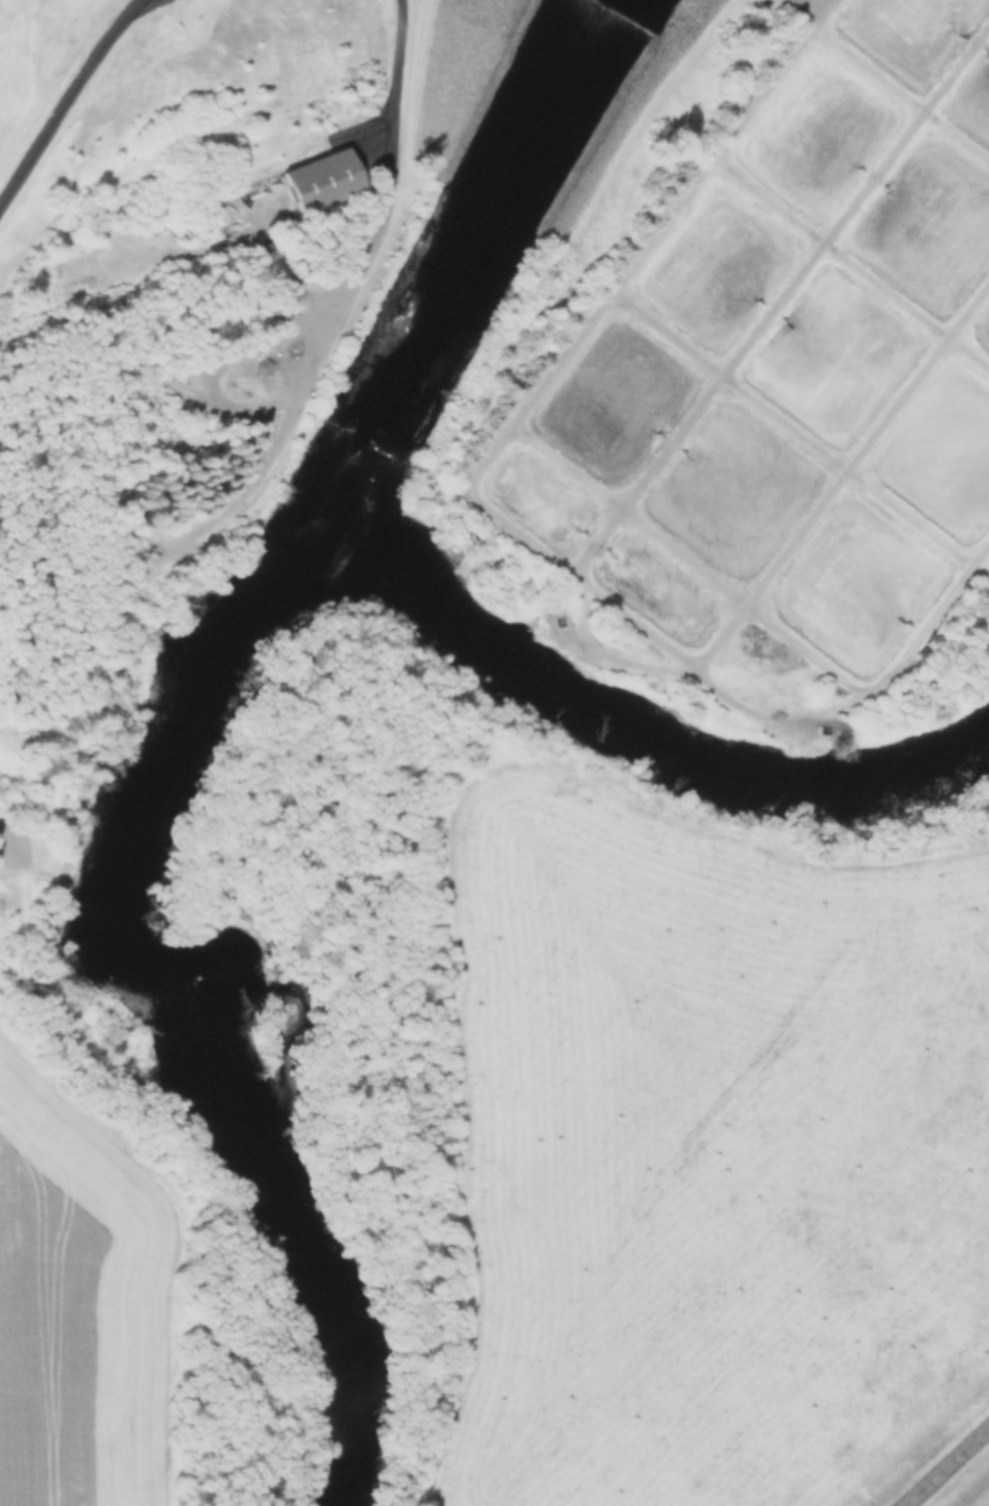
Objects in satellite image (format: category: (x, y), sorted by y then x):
road: (133, 5)
road: (396, 84)
road: (63, 107)
road: (64, 132)
building: (327, 181)
river: (457, 270)
road: (260, 474)
road: (8, 846)
road: (17, 903)
river: (198, 989)
road: (188, 1221)
road: (950, 1470)

